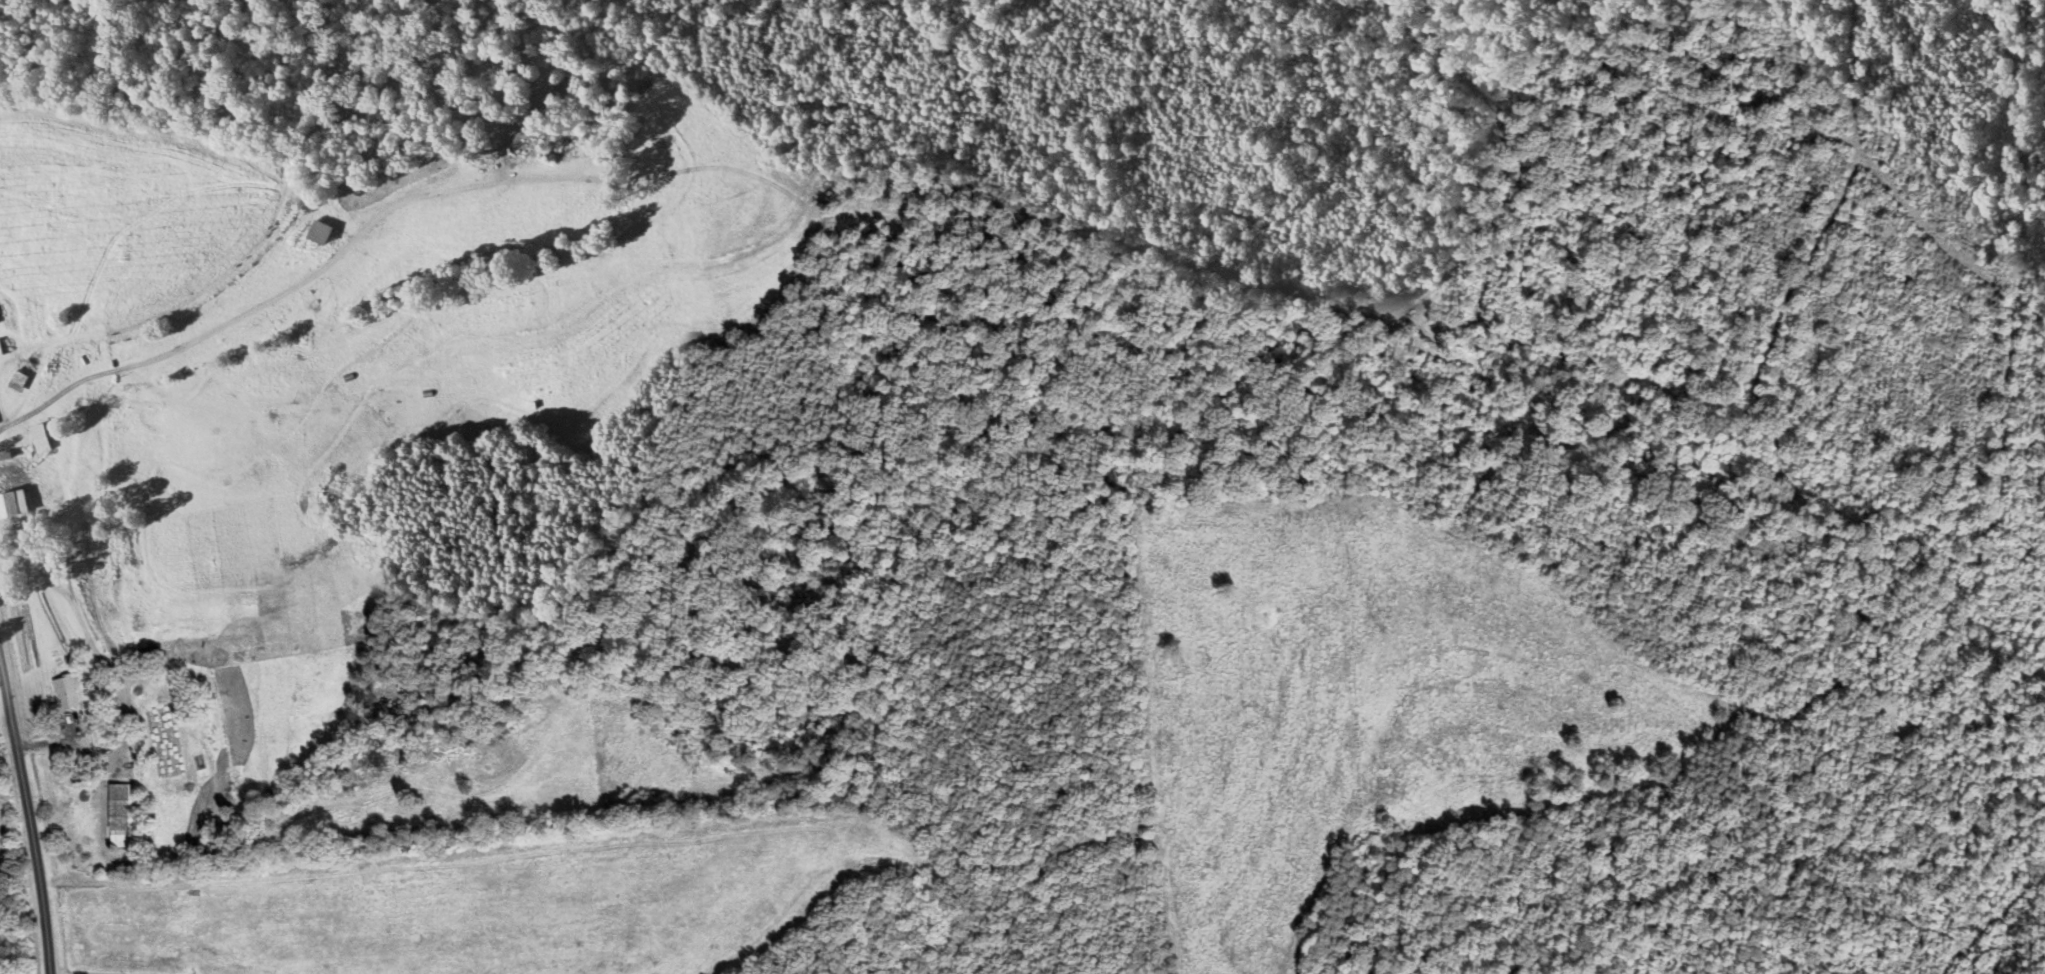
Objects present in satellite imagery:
building: (322, 231)
building: (3, 346)
building: (15, 379)
road: (38, 406)
building: (39, 436)
building: (14, 505)
building: (52, 560)
building: (68, 691)
building: (102, 733)
building: (83, 770)
road: (108, 772)
building: (125, 812)
road: (27, 814)

